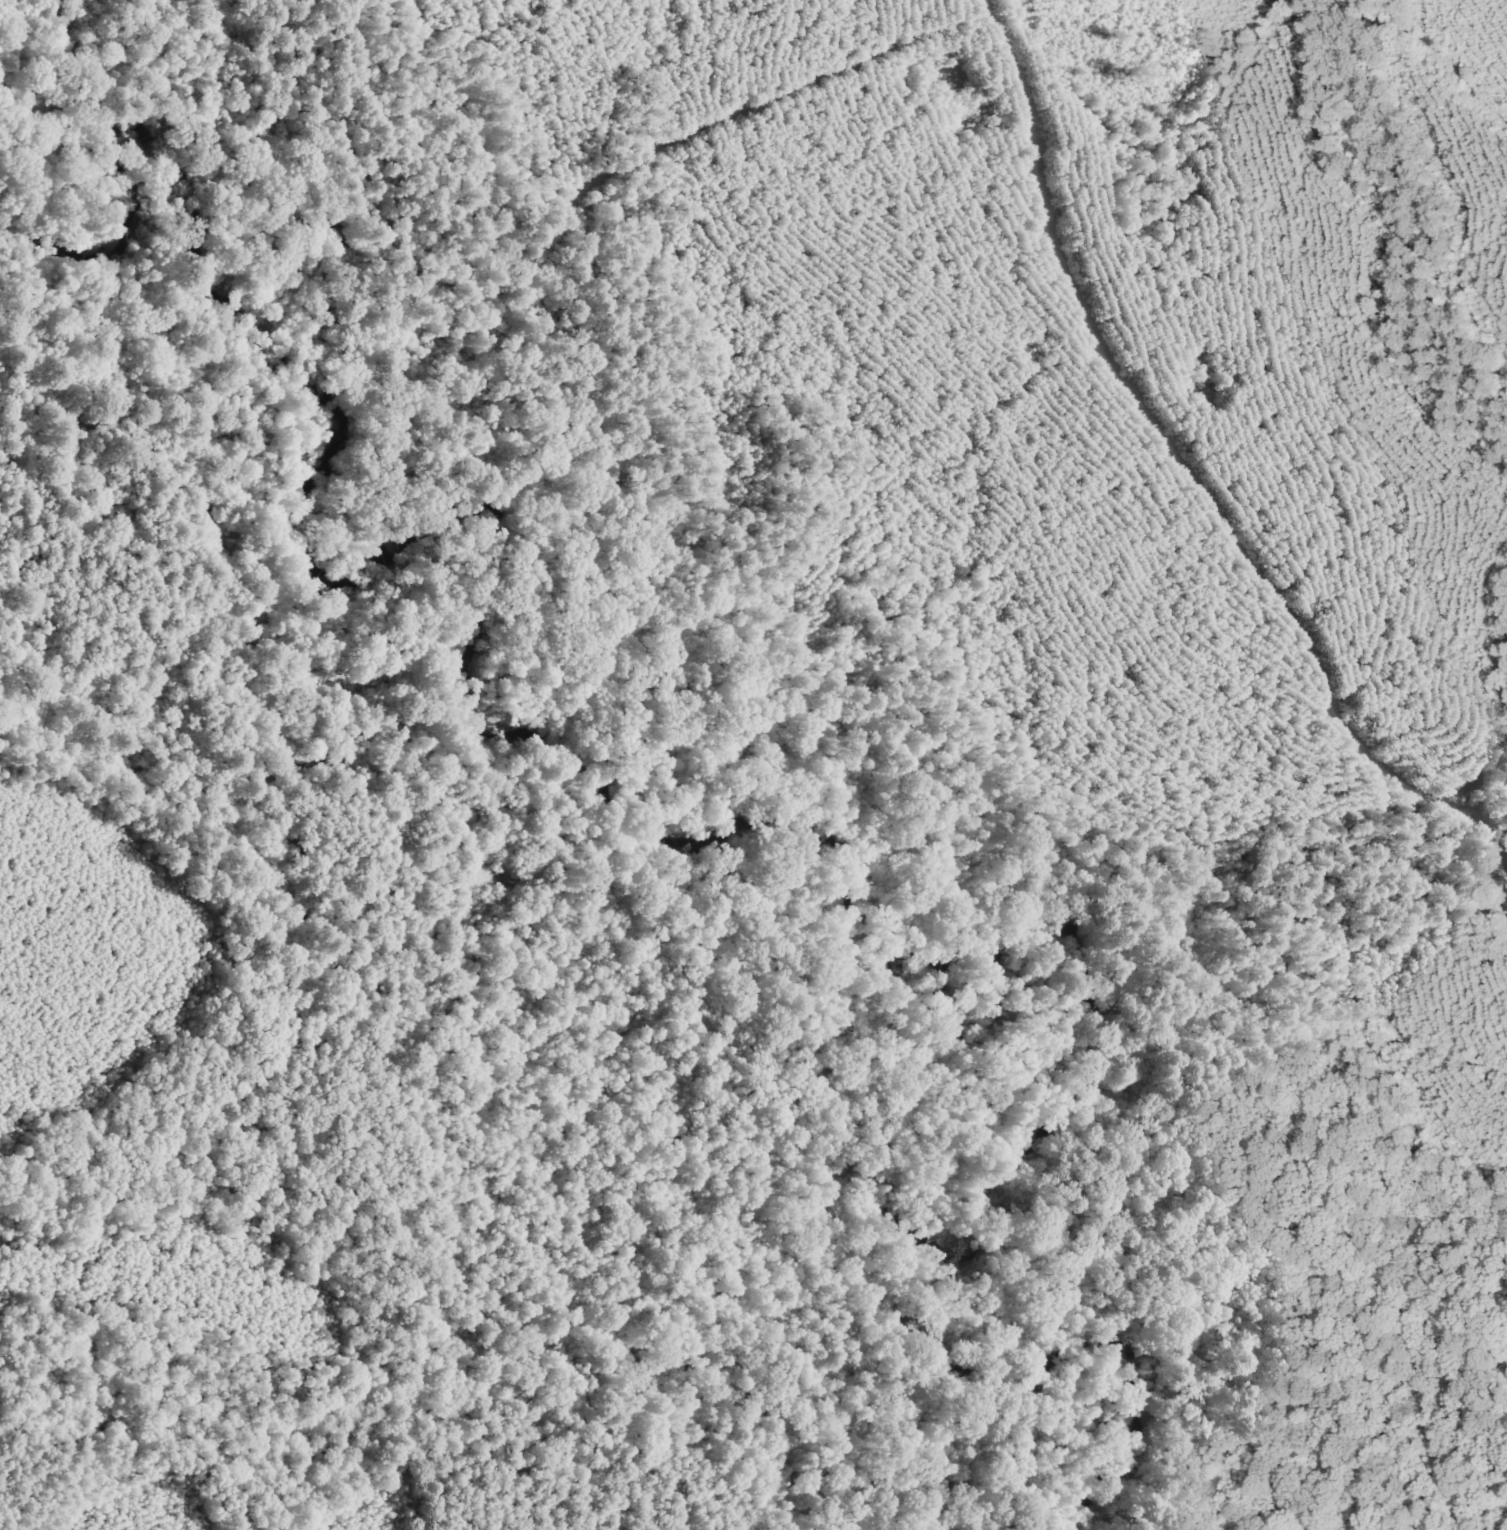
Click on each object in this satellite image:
road: (1203, 482)

